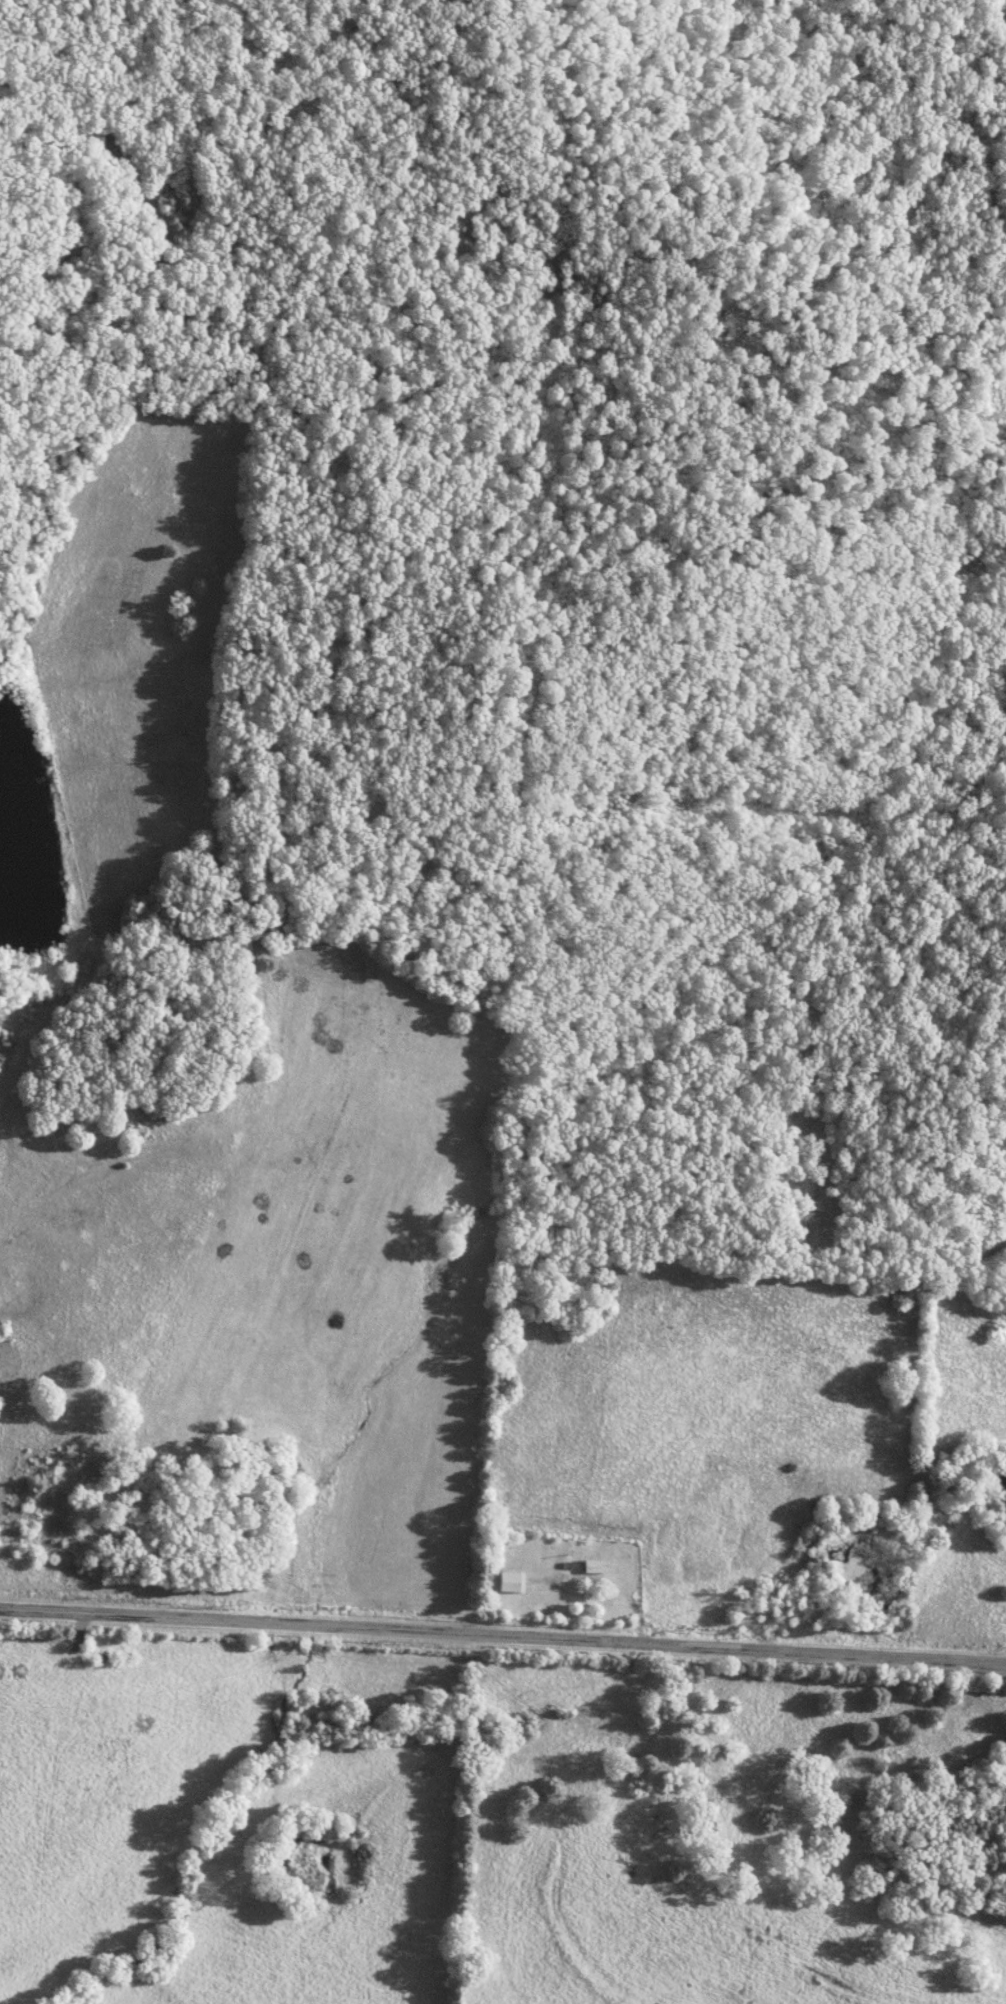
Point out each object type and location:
building: (592, 1565)
building: (510, 1580)
road: (502, 1638)

